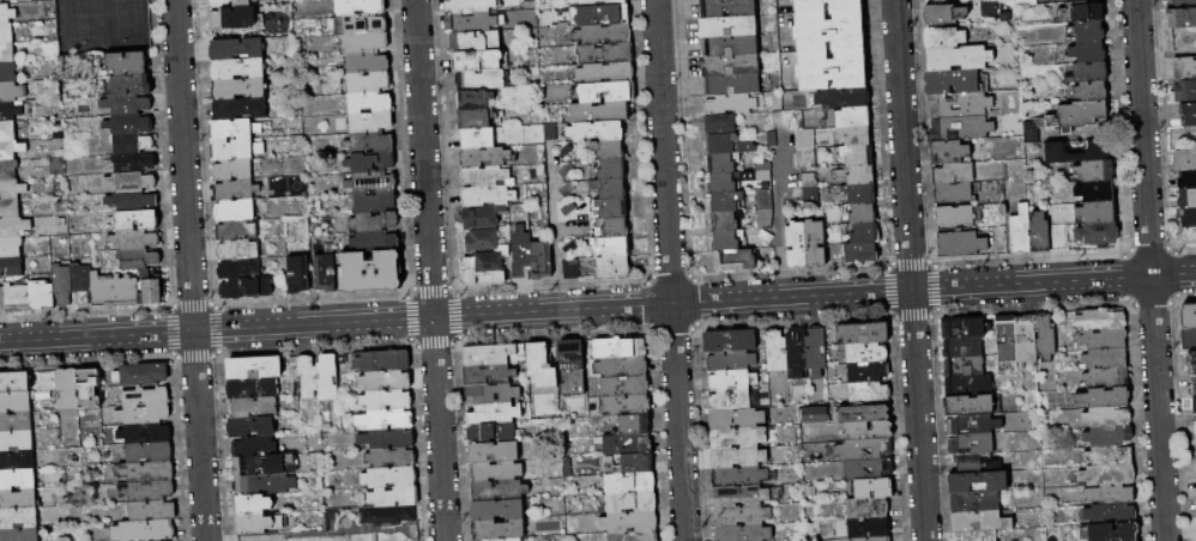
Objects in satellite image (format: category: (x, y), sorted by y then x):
building: (7, 0)
building: (1026, 1)
building: (1185, 1)
building: (229, 2)
building: (599, 2)
building: (469, 6)
building: (360, 7)
building: (848, 7)
building: (727, 8)
building: (1083, 12)
building: (7, 14)
building: (946, 14)
building: (600, 16)
building: (234, 18)
building: (1182, 18)
building: (471, 22)
building: (360, 24)
building: (730, 26)
building: (830, 30)
building: (1086, 32)
building: (6, 34)
building: (603, 35)
building: (944, 38)
building: (476, 41)
building: (364, 42)
building: (730, 47)
building: (237, 49)
building: (7, 53)
building: (1088, 53)
building: (605, 54)
building: (959, 57)
building: (481, 61)
building: (126, 63)
building: (367, 63)
building: (731, 66)
building: (238, 68)
building: (1185, 68)
building: (833, 69)
building: (8, 73)
building: (606, 73)
building: (1089, 74)
building: (481, 80)
building: (369, 83)
building: (953, 83)
building: (132, 85)
building: (733, 85)
building: (240, 89)
building: (1185, 91)
building: (12, 92)
building: (608, 92)
building: (1091, 93)
building: (844, 98)
building: (475, 99)
building: (370, 103)
building: (127, 104)
building: (731, 104)
building: (960, 105)
building: (241, 109)
building: (10, 111)
building: (600, 113)
building: (1190, 114)
building: (1076, 115)
building: (848, 117)
building: (477, 118)
building: (790, 120)
building: (372, 122)
building: (131, 124)
building: (721, 124)
building: (961, 128)
building: (235, 129)
building: (598, 130)
building: (7, 132)
building: (551, 132)
building: (1032, 133)
building: (854, 136)
building: (478, 138)
building: (773, 140)
building: (805, 140)
building: (133, 141)
building: (370, 142)
building: (729, 145)
road: (902, 145)
building: (11, 150)
building: (236, 150)
building: (610, 150)
building: (566, 151)
building: (950, 152)
building: (1098, 152)
building: (856, 156)
building: (487, 157)
building: (807, 159)
building: (1185, 159)
building: (134, 162)
building: (370, 162)
road: (786, 162)
building: (721, 163)
building: (611, 169)
building: (8, 170)
building: (567, 170)
building: (234, 171)
building: (763, 171)
building: (1095, 171)
building: (956, 174)
building: (857, 175)
building: (487, 177)
building: (1188, 180)
building: (730, 181)
building: (810, 181)
building: (132, 182)
building: (373, 183)
building: (610, 188)
building: (12, 189)
building: (236, 190)
building: (568, 190)
building: (1097, 192)
building: (955, 193)
building: (860, 194)
building: (488, 195)
building: (811, 197)
building: (1188, 199)
building: (765, 200)
building: (134, 201)
building: (726, 201)
building: (375, 202)
building: (11, 208)
building: (611, 208)
building: (569, 209)
building: (235, 211)
building: (1098, 212)
building: (862, 213)
building: (955, 215)
building: (484, 217)
building: (1189, 218)
building: (766, 219)
building: (138, 220)
building: (375, 221)
building: (726, 221)
building: (13, 227)
road: (551, 227)
building: (609, 229)
building: (237, 230)
building: (1021, 231)
building: (1040, 232)
building: (864, 233)
building: (1098, 233)
building: (1189, 236)
building: (766, 237)
building: (1059, 238)
building: (135, 239)
building: (727, 241)
road: (781, 241)
building: (376, 242)
building: (485, 242)
building: (816, 243)
building: (961, 244)
building: (797, 245)
building: (11, 247)
building: (572, 248)
building: (611, 248)
building: (238, 250)
building: (862, 254)
building: (523, 255)
building: (140, 259)
building: (542, 260)
building: (735, 261)
building: (11, 266)
building: (487, 267)
building: (614, 268)
building: (240, 269)
building: (572, 269)
road: (670, 269)
road: (189, 270)
road: (429, 270)
road: (1149, 270)
building: (369, 272)
building: (145, 273)
building: (326, 273)
building: (298, 275)
road: (1052, 281)
building: (81, 284)
building: (62, 286)
building: (247, 288)
building: (114, 291)
building: (152, 291)
building: (42, 296)
building: (18, 298)
building: (2, 300)
road: (455, 316)
building: (1189, 316)
building: (1101, 320)
building: (965, 328)
building: (863, 333)
building: (1046, 339)
building: (1105, 339)
building: (1189, 339)
building: (1027, 340)
building: (731, 341)
building: (1007, 342)
building: (964, 347)
building: (620, 348)
building: (778, 352)
building: (816, 352)
building: (863, 353)
building: (490, 354)
building: (797, 354)
building: (381, 359)
building: (1105, 359)
building: (731, 361)
building: (1191, 363)
building: (542, 366)
building: (965, 366)
building: (255, 367)
building: (573, 367)
building: (622, 367)
building: (868, 372)
building: (143, 375)
building: (489, 375)
building: (308, 376)
building: (328, 378)
building: (385, 378)
building: (1107, 378)
building: (732, 381)
building: (14, 383)
building: (1192, 384)
building: (626, 385)
building: (970, 387)
building: (90, 388)
building: (253, 388)
building: (68, 393)
building: (494, 393)
building: (869, 393)
building: (145, 395)
building: (385, 397)
building: (1105, 397)
building: (731, 400)
building: (16, 401)
building: (627, 406)
building: (974, 406)
building: (1195, 406)
building: (254, 407)
building: (496, 412)
building: (811, 413)
building: (145, 414)
building: (864, 414)
road: (918, 415)
building: (1107, 417)
building: (383, 418)
building: (737, 418)
building: (16, 421)
building: (979, 424)
building: (635, 425)
building: (252, 427)
building: (1195, 427)
building: (869, 431)
building: (493, 432)
building: (146, 433)
building: (1110, 436)
building: (386, 437)
building: (737, 438)
building: (17, 440)
building: (973, 444)
building: (627, 445)
building: (255, 446)
building: (864, 450)
building: (150, 452)
building: (495, 452)
building: (388, 456)
building: (1110, 456)
building: (738, 458)
building: (17, 460)
building: (638, 463)
building: (977, 464)
building: (266, 466)
building: (869, 469)
building: (147, 472)
building: (495, 472)
building: (388, 475)
building: (1107, 475)
building: (739, 478)
building: (17, 479)
building: (978, 482)
building: (630, 484)
building: (265, 485)
building: (874, 488)
building: (147, 491)
building: (499, 491)
building: (392, 494)
building: (1111, 494)
building: (741, 496)
building: (18, 499)
building: (977, 502)
building: (632, 503)
building: (253, 505)
building: (868, 507)
building: (153, 510)
building: (499, 510)
building: (1111, 515)
building: (388, 516)
building: (742, 516)
building: (18, 518)
building: (980, 521)
building: (630, 522)
building: (260, 523)
park: (357, 525)
building: (869, 528)
building: (145, 530)
road: (358, 530)
building: (500, 530)
building: (744, 533)
building: (1111, 533)
building: (19, 535)
building: (975, 535)
building: (635, 536)
building: (872, 539)
building: (501, 540)

